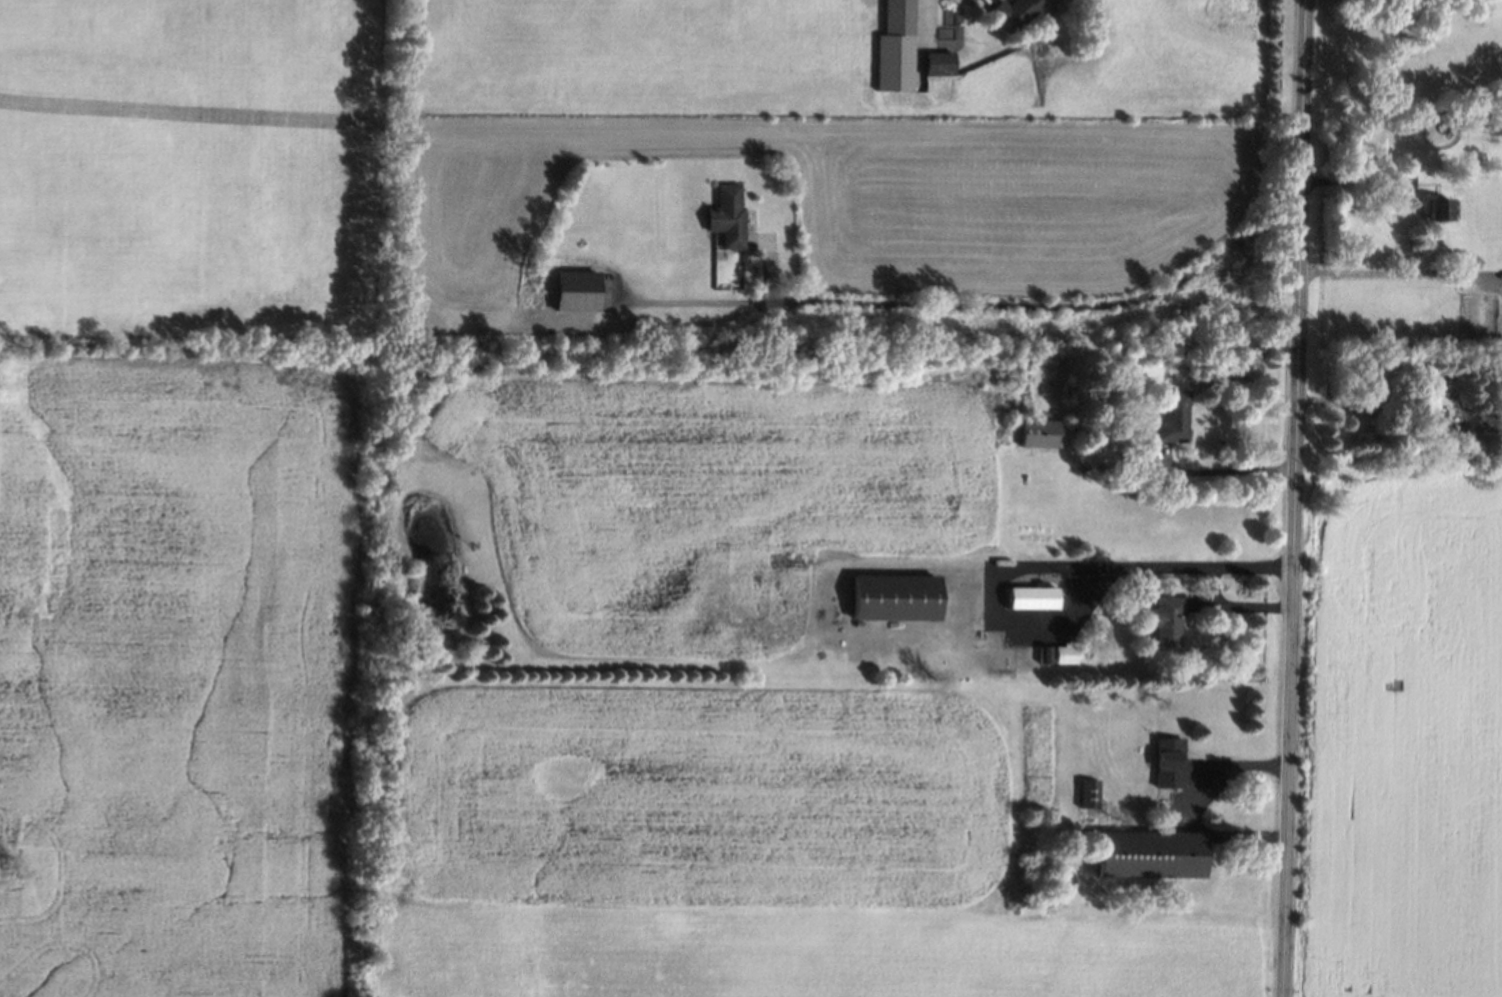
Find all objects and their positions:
building: (1015, 11)
building: (900, 18)
road: (934, 23)
building: (940, 63)
building: (1442, 209)
building: (730, 216)
road: (1401, 272)
building: (580, 290)
road: (1046, 305)
building: (1373, 385)
building: (1176, 417)
building: (1042, 432)
road: (1233, 469)
road: (1297, 498)
road: (1045, 564)
building: (896, 597)
building: (1034, 598)
road: (1236, 605)
building: (1166, 619)
building: (1047, 654)
building: (1066, 654)
building: (1170, 762)
building: (1091, 793)
road: (1194, 799)
building: (1153, 854)

